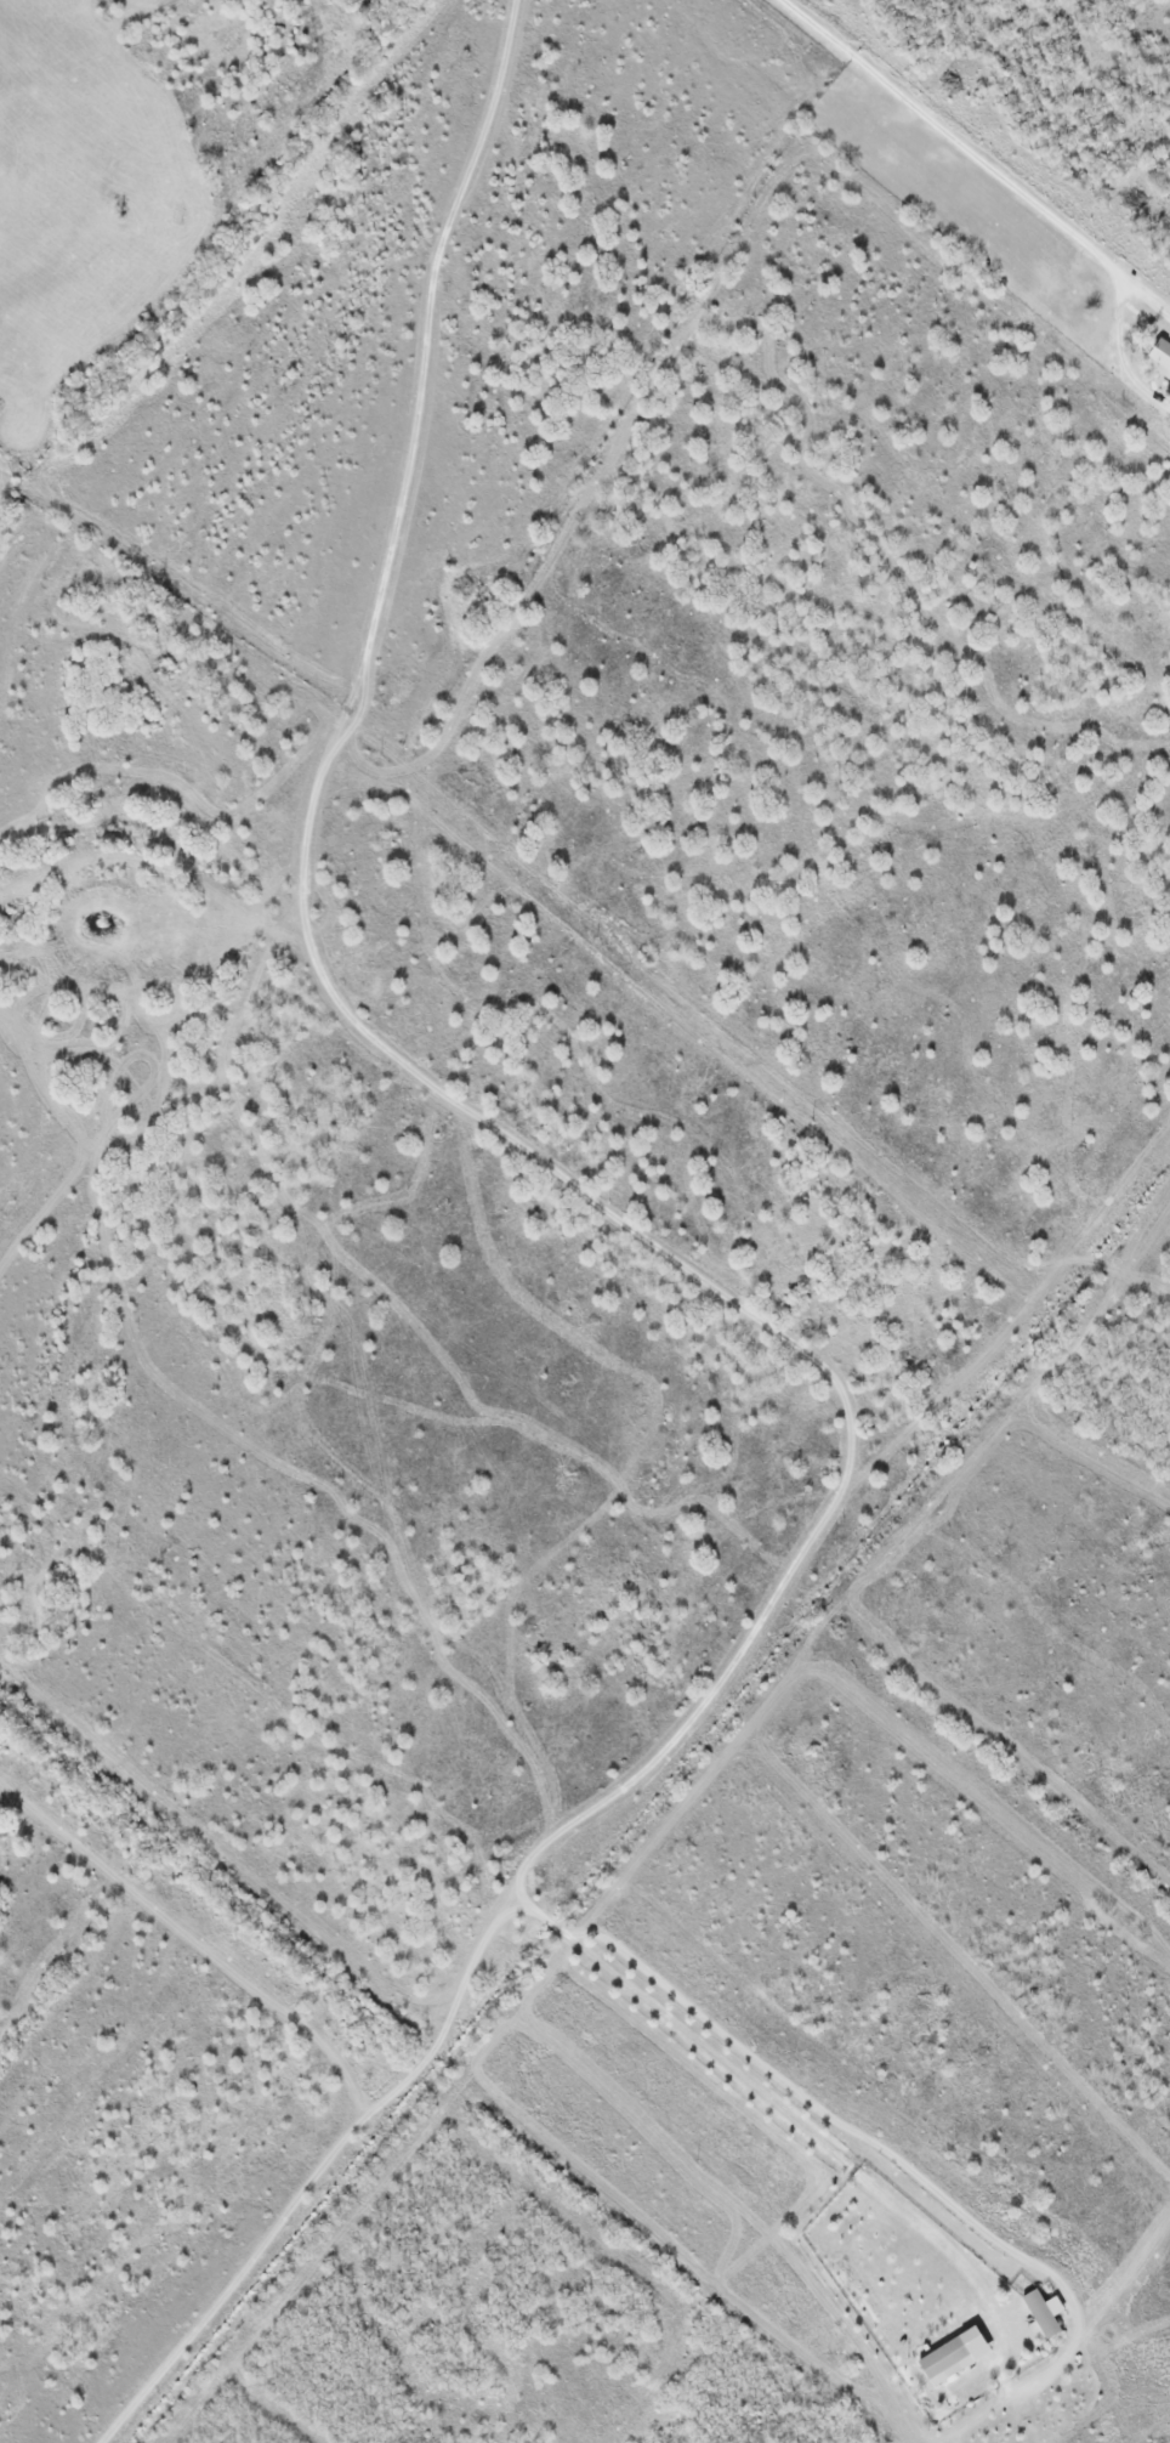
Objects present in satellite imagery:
building: (1163, 358)
building: (1041, 2312)
building: (944, 2357)

